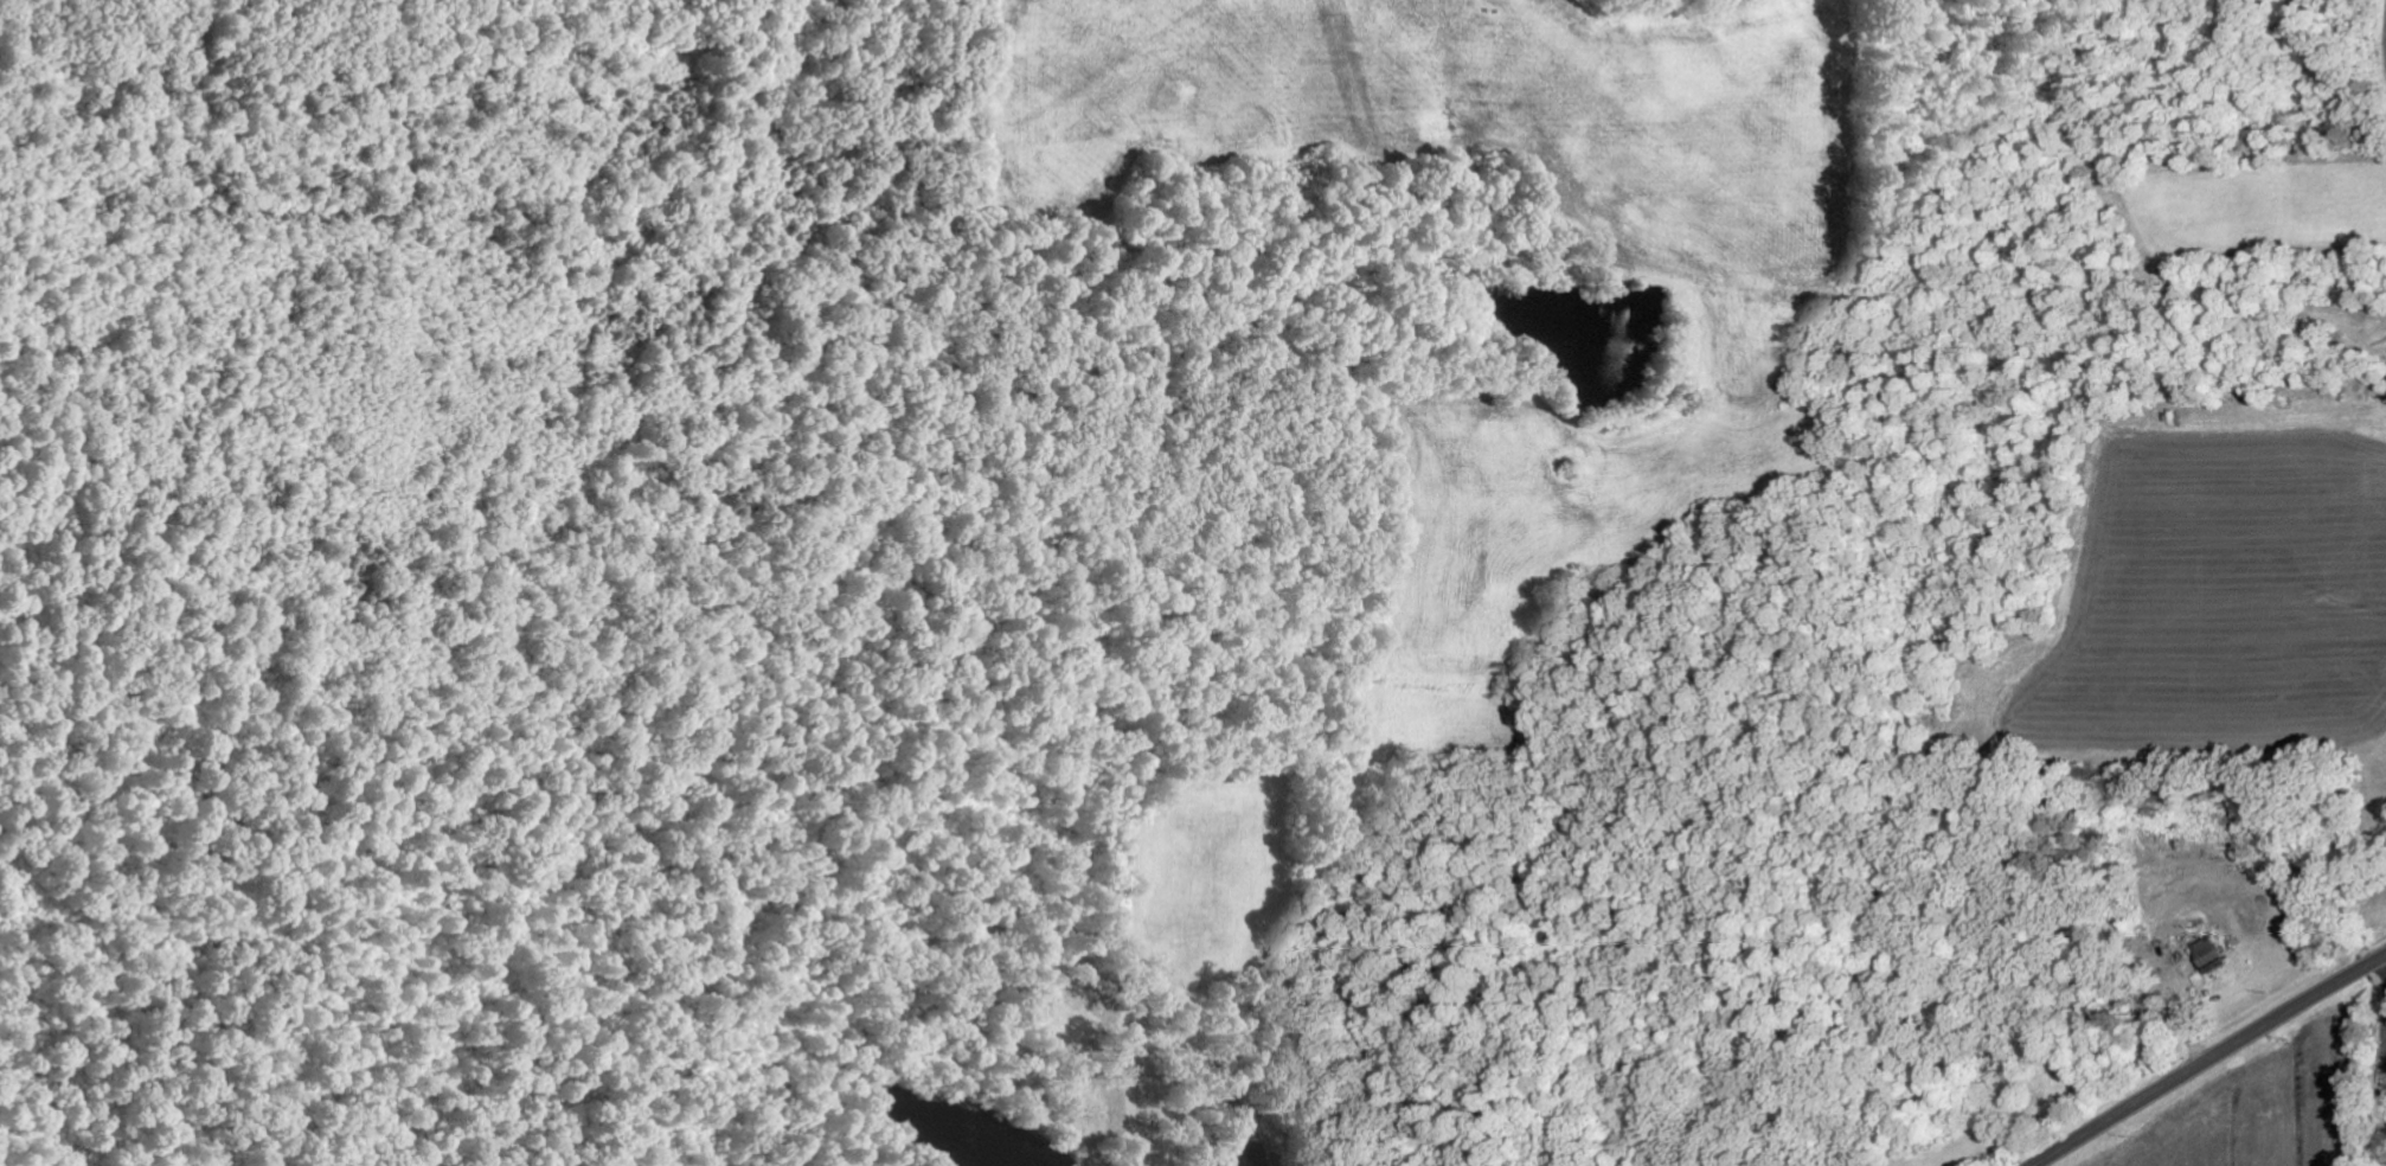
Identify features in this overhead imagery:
building: (2213, 953)
road: (2207, 1059)

